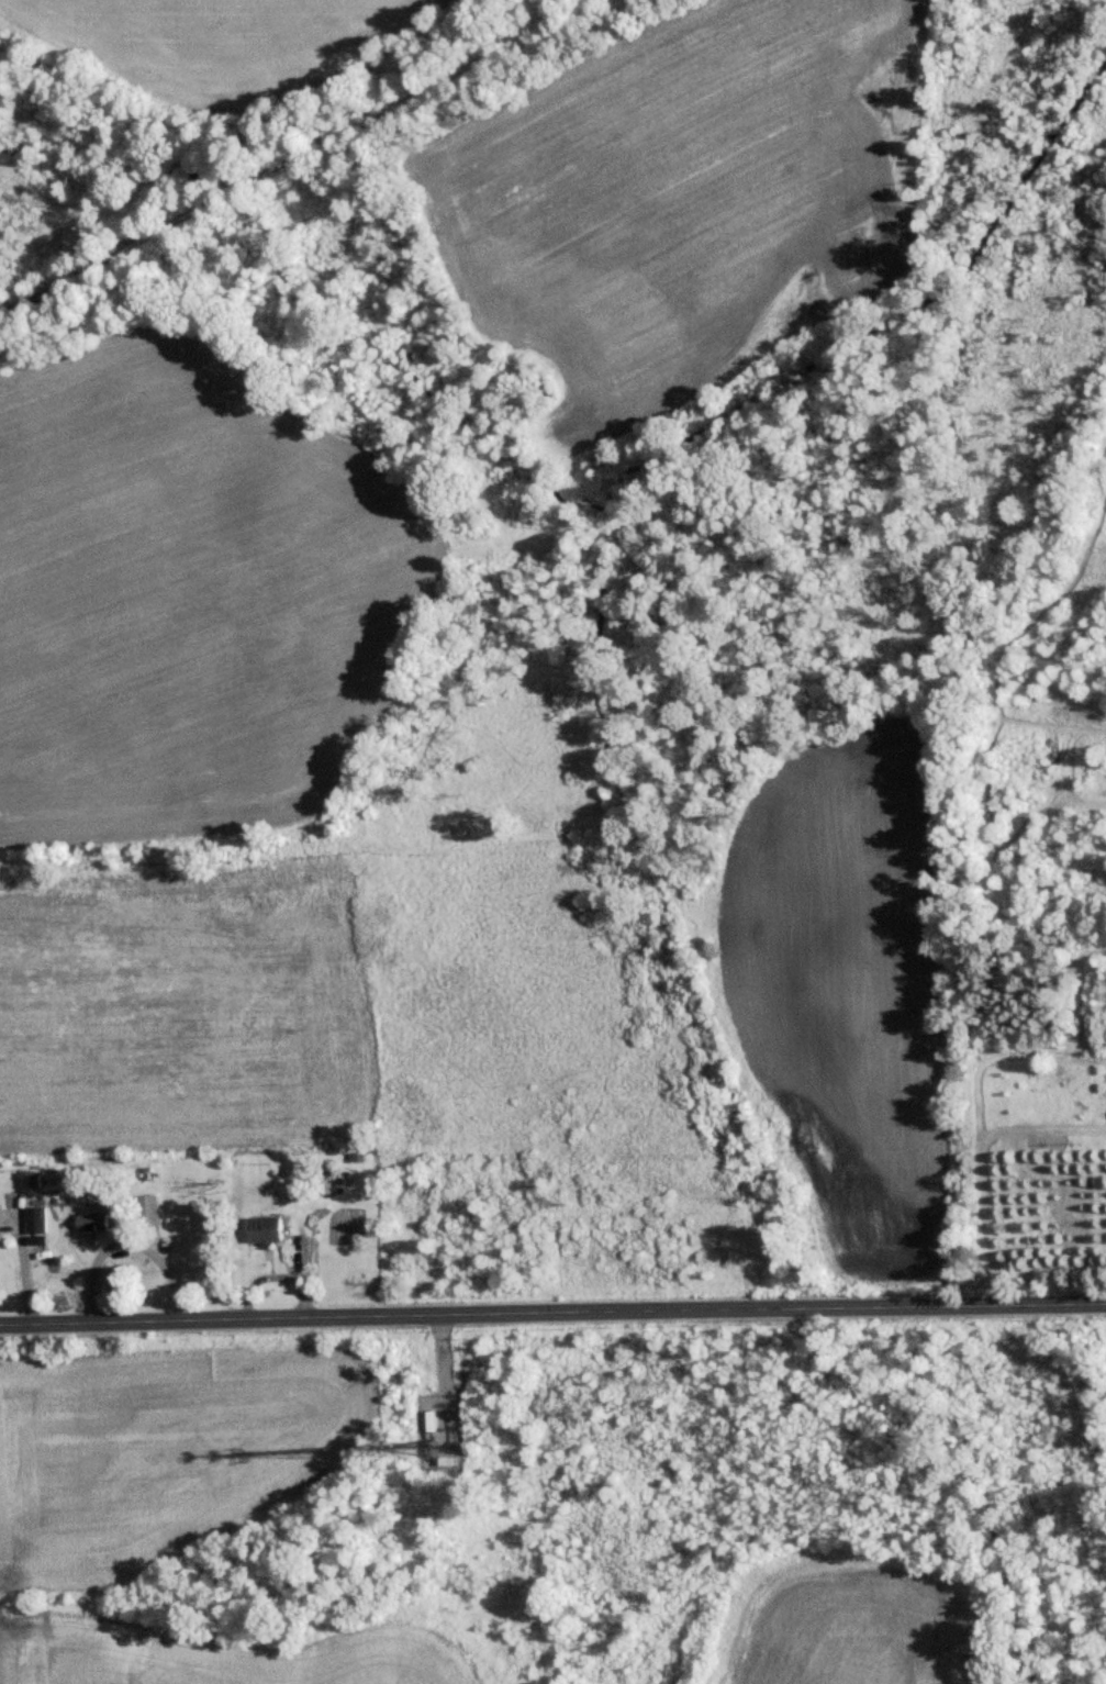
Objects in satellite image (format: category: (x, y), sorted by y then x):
building: (322, 1180)
building: (148, 1208)
building: (34, 1218)
building: (91, 1219)
building: (265, 1227)
road: (144, 1242)
road: (552, 1316)

